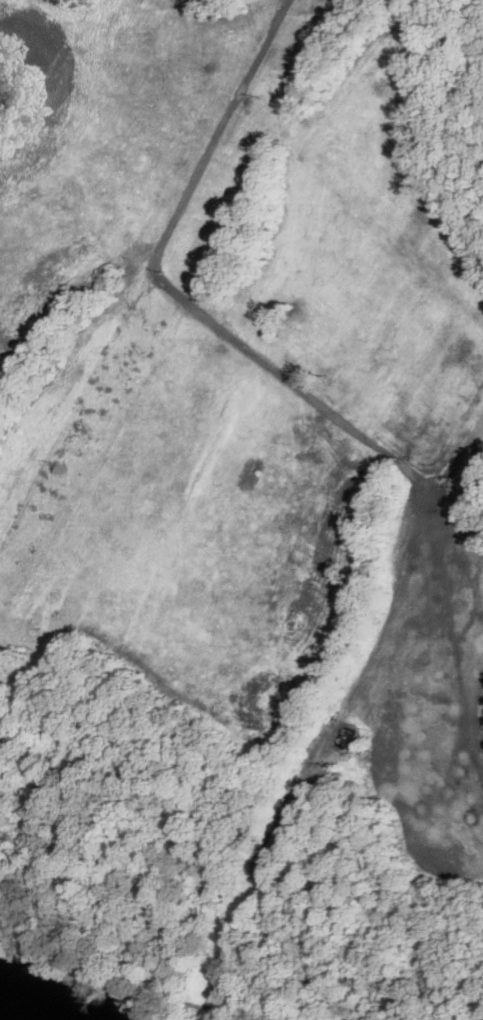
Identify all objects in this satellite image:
road: (133, 963)
river: (10, 1010)

